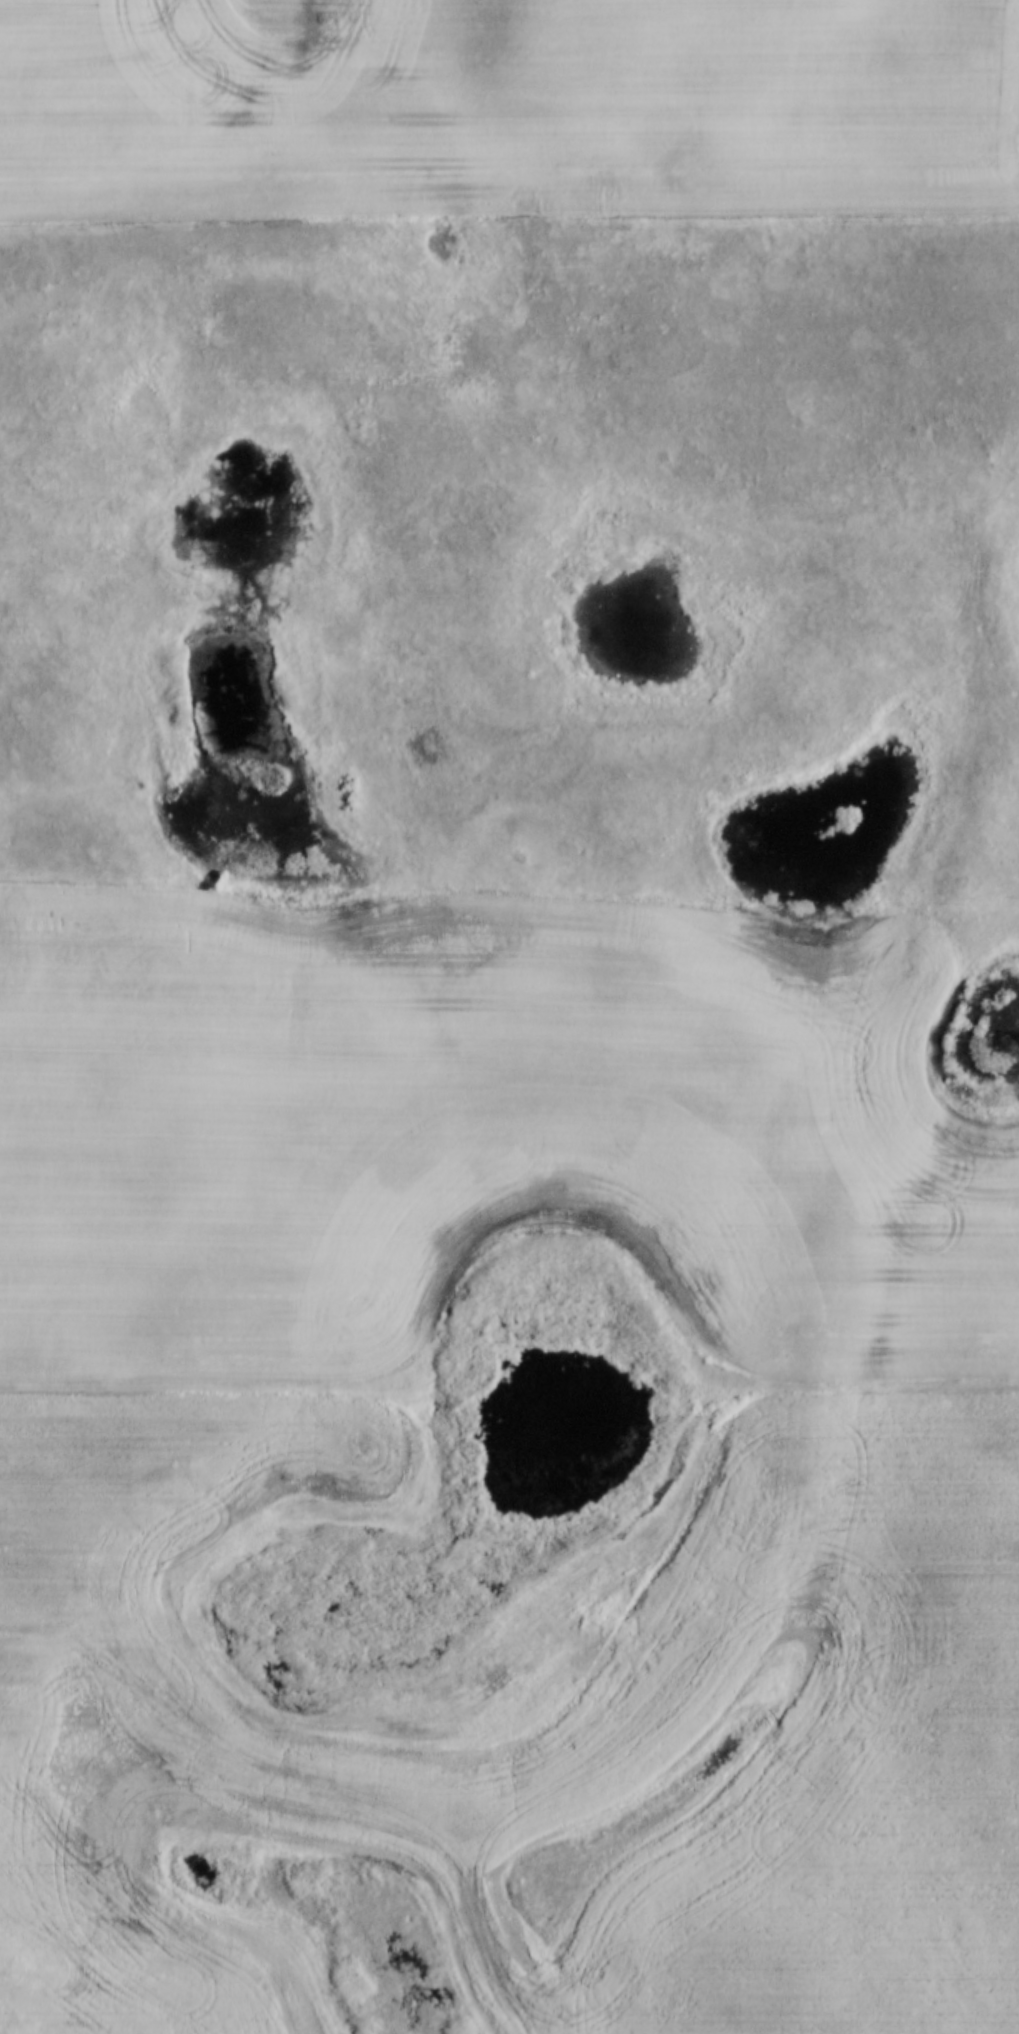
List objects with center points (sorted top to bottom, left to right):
road: (509, 1399)

